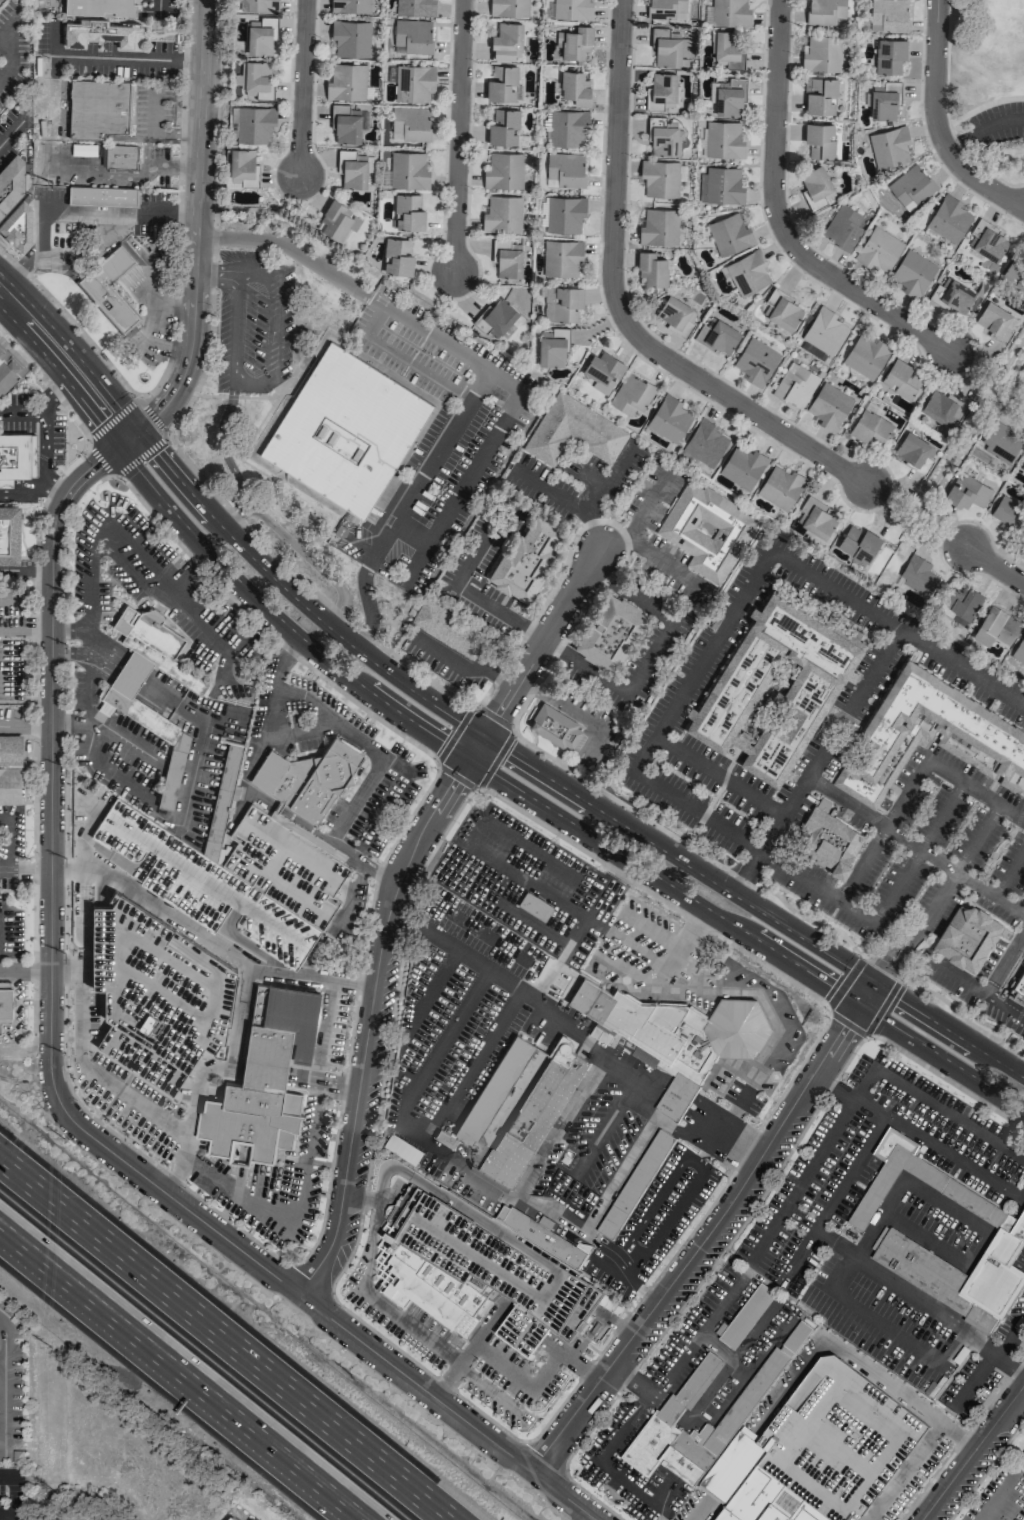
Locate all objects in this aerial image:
building: (257, 5)
building: (350, 6)
building: (98, 7)
building: (414, 8)
building: (509, 8)
building: (665, 8)
building: (572, 9)
building: (730, 12)
building: (826, 12)
building: (889, 15)
building: (102, 32)
building: (413, 36)
building: (261, 37)
building: (351, 39)
building: (506, 41)
building: (575, 43)
building: (669, 49)
building: (727, 49)
park: (984, 51)
building: (822, 54)
building: (889, 55)
road: (8, 56)
road: (102, 58)
road: (191, 61)
building: (254, 79)
building: (346, 81)
building: (414, 83)
building: (501, 83)
road: (299, 87)
building: (575, 87)
building: (662, 91)
building: (820, 95)
building: (729, 97)
building: (885, 101)
building: (100, 108)
road: (936, 123)
building: (254, 124)
building: (345, 124)
building: (409, 124)
building: (503, 127)
building: (567, 127)
road: (983, 128)
road: (9, 133)
road: (155, 133)
building: (663, 136)
road: (456, 137)
building: (723, 140)
building: (819, 140)
building: (889, 146)
building: (120, 157)
building: (241, 167)
building: (352, 169)
building: (503, 170)
building: (564, 170)
building: (406, 171)
building: (659, 178)
building: (13, 179)
building: (721, 185)
building: (816, 186)
building: (911, 186)
building: (103, 195)
road: (77, 211)
building: (408, 212)
building: (504, 214)
building: (565, 214)
road: (781, 217)
building: (948, 219)
building: (335, 221)
building: (18, 224)
building: (658, 227)
building: (842, 227)
building: (729, 234)
road: (194, 237)
building: (987, 241)
road: (288, 247)
building: (878, 250)
building: (397, 256)
building: (561, 257)
building: (507, 258)
building: (651, 269)
building: (747, 272)
building: (912, 273)
road: (216, 275)
building: (109, 288)
building: (952, 295)
building: (562, 303)
road: (621, 308)
building: (782, 310)
building: (676, 314)
building: (498, 316)
building: (996, 321)
road: (374, 322)
road: (70, 324)
building: (824, 330)
building: (718, 336)
building: (553, 348)
road: (69, 349)
building: (865, 355)
building: (756, 361)
road: (987, 370)
building: (9, 371)
building: (602, 371)
road: (61, 372)
road: (266, 378)
building: (900, 378)
road: (433, 382)
road: (49, 384)
building: (795, 385)
building: (631, 394)
building: (829, 406)
building: (942, 407)
road: (21, 410)
road: (509, 413)
road: (151, 416)
building: (669, 418)
road: (114, 419)
road: (968, 426)
building: (870, 427)
traffic signals: (134, 429)
building: (572, 430)
road: (43, 438)
building: (999, 442)
building: (705, 443)
traffic signals: (115, 444)
park: (955, 446)
building: (914, 451)
road: (139, 455)
building: (15, 457)
road: (99, 460)
road: (227, 460)
building: (742, 466)
building: (1022, 469)
road: (592, 480)
building: (780, 486)
road: (21, 490)
building: (967, 492)
road: (586, 502)
road: (406, 505)
building: (1007, 513)
building: (815, 517)
road: (918, 520)
road: (592, 525)
building: (706, 530)
building: (9, 533)
road: (412, 533)
road: (637, 540)
road: (620, 541)
building: (858, 543)
road: (237, 544)
building: (527, 557)
road: (216, 561)
road: (376, 564)
road: (124, 565)
road: (997, 567)
road: (25, 571)
road: (185, 575)
building: (921, 580)
road: (89, 582)
road: (308, 586)
road: (463, 590)
building: (962, 603)
road: (562, 609)
building: (447, 628)
building: (986, 628)
road: (265, 629)
road: (72, 631)
road: (897, 631)
building: (611, 632)
road: (103, 653)
road: (73, 655)
road: (648, 658)
road: (701, 661)
road: (463, 662)
road: (281, 664)
road: (130, 672)
building: (774, 687)
road: (416, 692)
road: (211, 697)
road: (174, 700)
building: (124, 704)
road: (500, 705)
road: (574, 710)
road: (398, 712)
road: (494, 718)
road: (71, 725)
road: (343, 725)
road: (10, 726)
road: (35, 726)
building: (554, 726)
building: (131, 727)
road: (299, 734)
road: (453, 735)
building: (981, 735)
traffic signals: (481, 736)
road: (124, 739)
building: (1023, 742)
road: (474, 747)
road: (253, 756)
traffic signals: (467, 758)
road: (817, 764)
building: (9, 768)
building: (307, 776)
road: (456, 776)
road: (718, 777)
road: (145, 779)
building: (132, 791)
road: (975, 791)
road: (358, 800)
road: (159, 812)
road: (883, 832)
road: (319, 835)
road: (312, 839)
building: (829, 842)
road: (469, 844)
road: (915, 846)
road: (689, 848)
road: (754, 848)
road: (291, 850)
road: (916, 853)
road: (113, 857)
road: (544, 858)
road: (5, 863)
road: (954, 871)
road: (264, 875)
road: (616, 878)
road: (208, 880)
building: (280, 881)
road: (530, 882)
road: (284, 885)
road: (353, 894)
road: (653, 896)
road: (515, 907)
road: (752, 907)
road: (590, 921)
road: (654, 930)
road: (614, 933)
road: (745, 934)
road: (207, 935)
building: (966, 937)
road: (243, 941)
road: (641, 950)
road: (680, 950)
road: (886, 955)
road: (1004, 961)
road: (473, 962)
road: (896, 963)
road: (883, 966)
building: (1023, 971)
road: (24, 972)
road: (64, 973)
road: (954, 977)
road: (844, 983)
traffic signals: (874, 985)
road: (673, 990)
building: (155, 992)
road: (866, 995)
building: (4, 1004)
traffic signals: (859, 1005)
road: (882, 1007)
road: (1004, 1007)
road: (767, 1012)
road: (960, 1019)
road: (369, 1021)
road: (846, 1023)
building: (678, 1028)
road: (415, 1038)
road: (836, 1038)
road: (763, 1052)
road: (451, 1055)
road: (494, 1056)
road: (226, 1070)
road: (746, 1071)
road: (729, 1077)
building: (264, 1080)
road: (945, 1080)
road: (661, 1082)
road: (324, 1083)
road: (835, 1085)
building: (493, 1090)
road: (512, 1095)
road: (98, 1097)
building: (678, 1098)
road: (57, 1101)
road: (670, 1103)
road: (933, 1103)
road: (740, 1105)
road: (313, 1106)
building: (534, 1115)
road: (664, 1121)
road: (476, 1124)
road: (558, 1127)
road: (733, 1139)
road: (593, 1142)
road: (940, 1151)
road: (872, 1163)
road: (178, 1174)
road: (804, 1179)
building: (635, 1185)
road: (502, 1195)
road: (837, 1201)
road: (232, 1202)
road: (950, 1211)
road: (478, 1217)
road: (376, 1224)
building: (1010, 1234)
road: (925, 1237)
road: (622, 1252)
road: (1022, 1256)
road: (477, 1259)
building: (484, 1270)
road: (631, 1270)
road: (676, 1274)
road: (629, 1278)
road: (548, 1283)
road: (838, 1295)
road: (223, 1341)
road: (719, 1348)
road: (471, 1350)
road: (988, 1350)
road: (444, 1356)
road: (1, 1360)
road: (573, 1360)
road: (992, 1364)
road: (733, 1368)
road: (866, 1370)
road: (182, 1372)
road: (632, 1380)
road: (524, 1381)
building: (691, 1388)
road: (3, 1390)
road: (1021, 1397)
road: (648, 1401)
road: (975, 1454)
building: (1021, 1463)
road: (904, 1472)
road: (1019, 1476)
building: (751, 1485)
road: (14, 1494)
road: (998, 1496)
road: (661, 1499)
building: (860, 1508)
road: (7, 1515)
road: (659, 1515)
building: (234, 1518)
building: (229, 1519)

